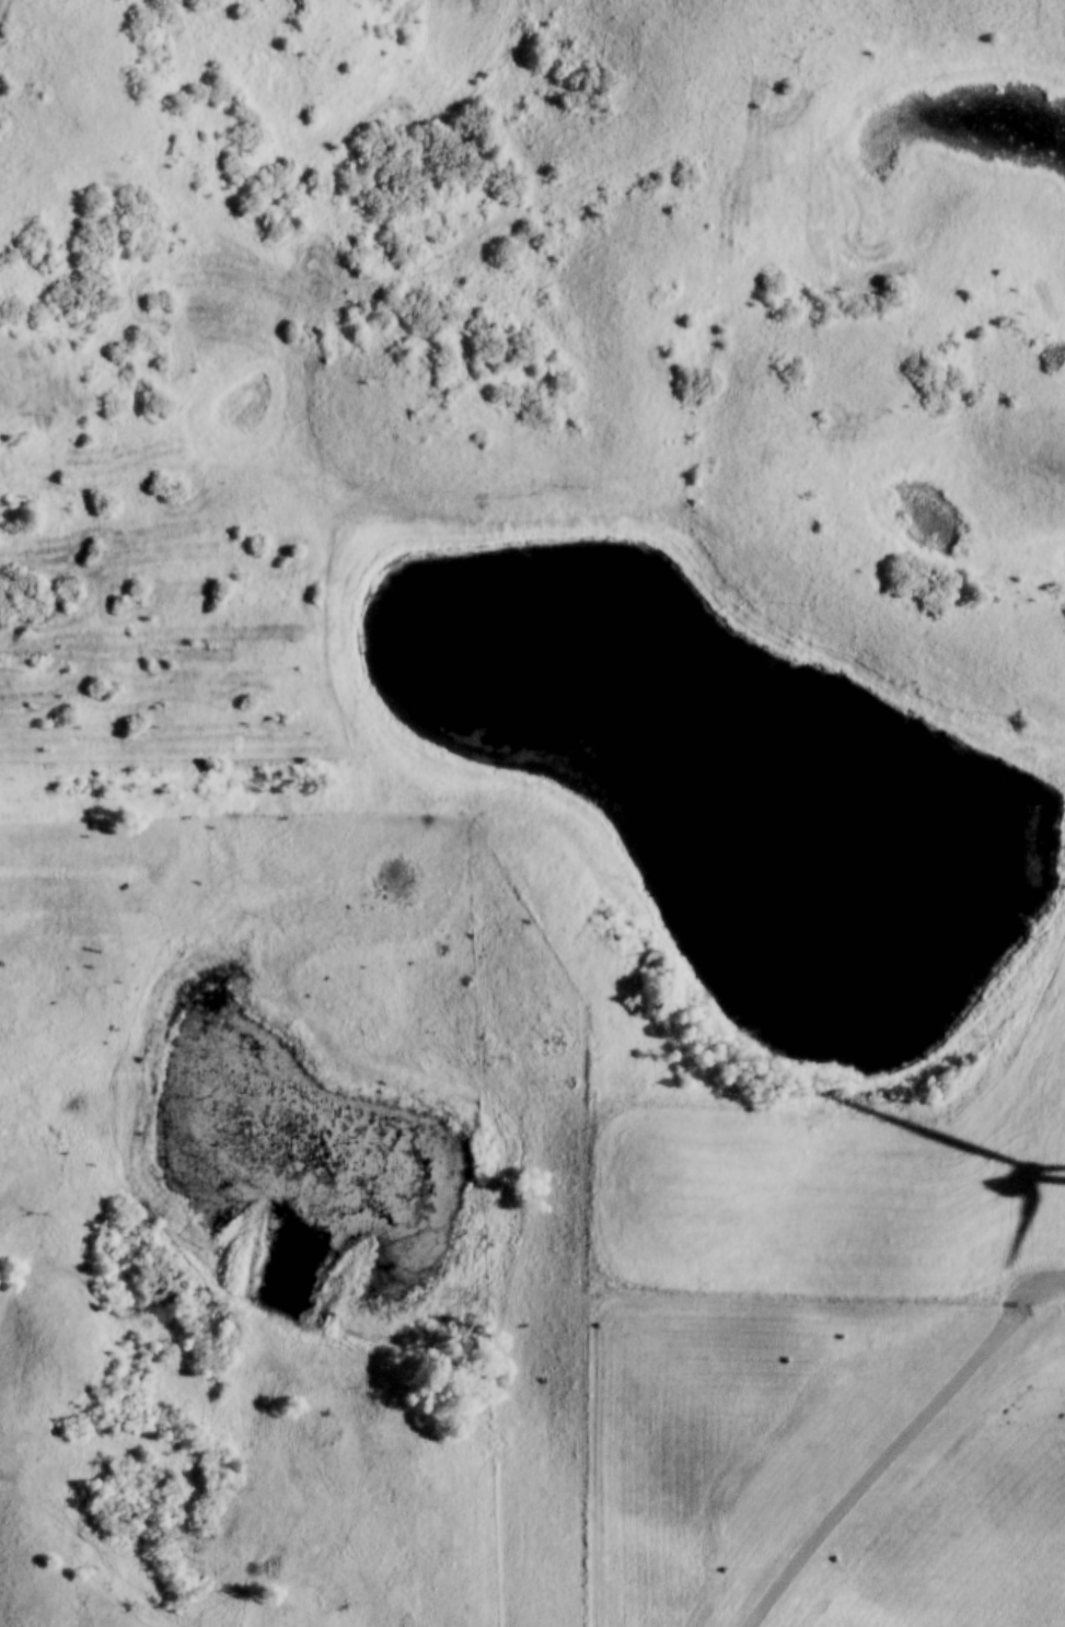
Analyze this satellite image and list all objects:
road: (908, 1440)

